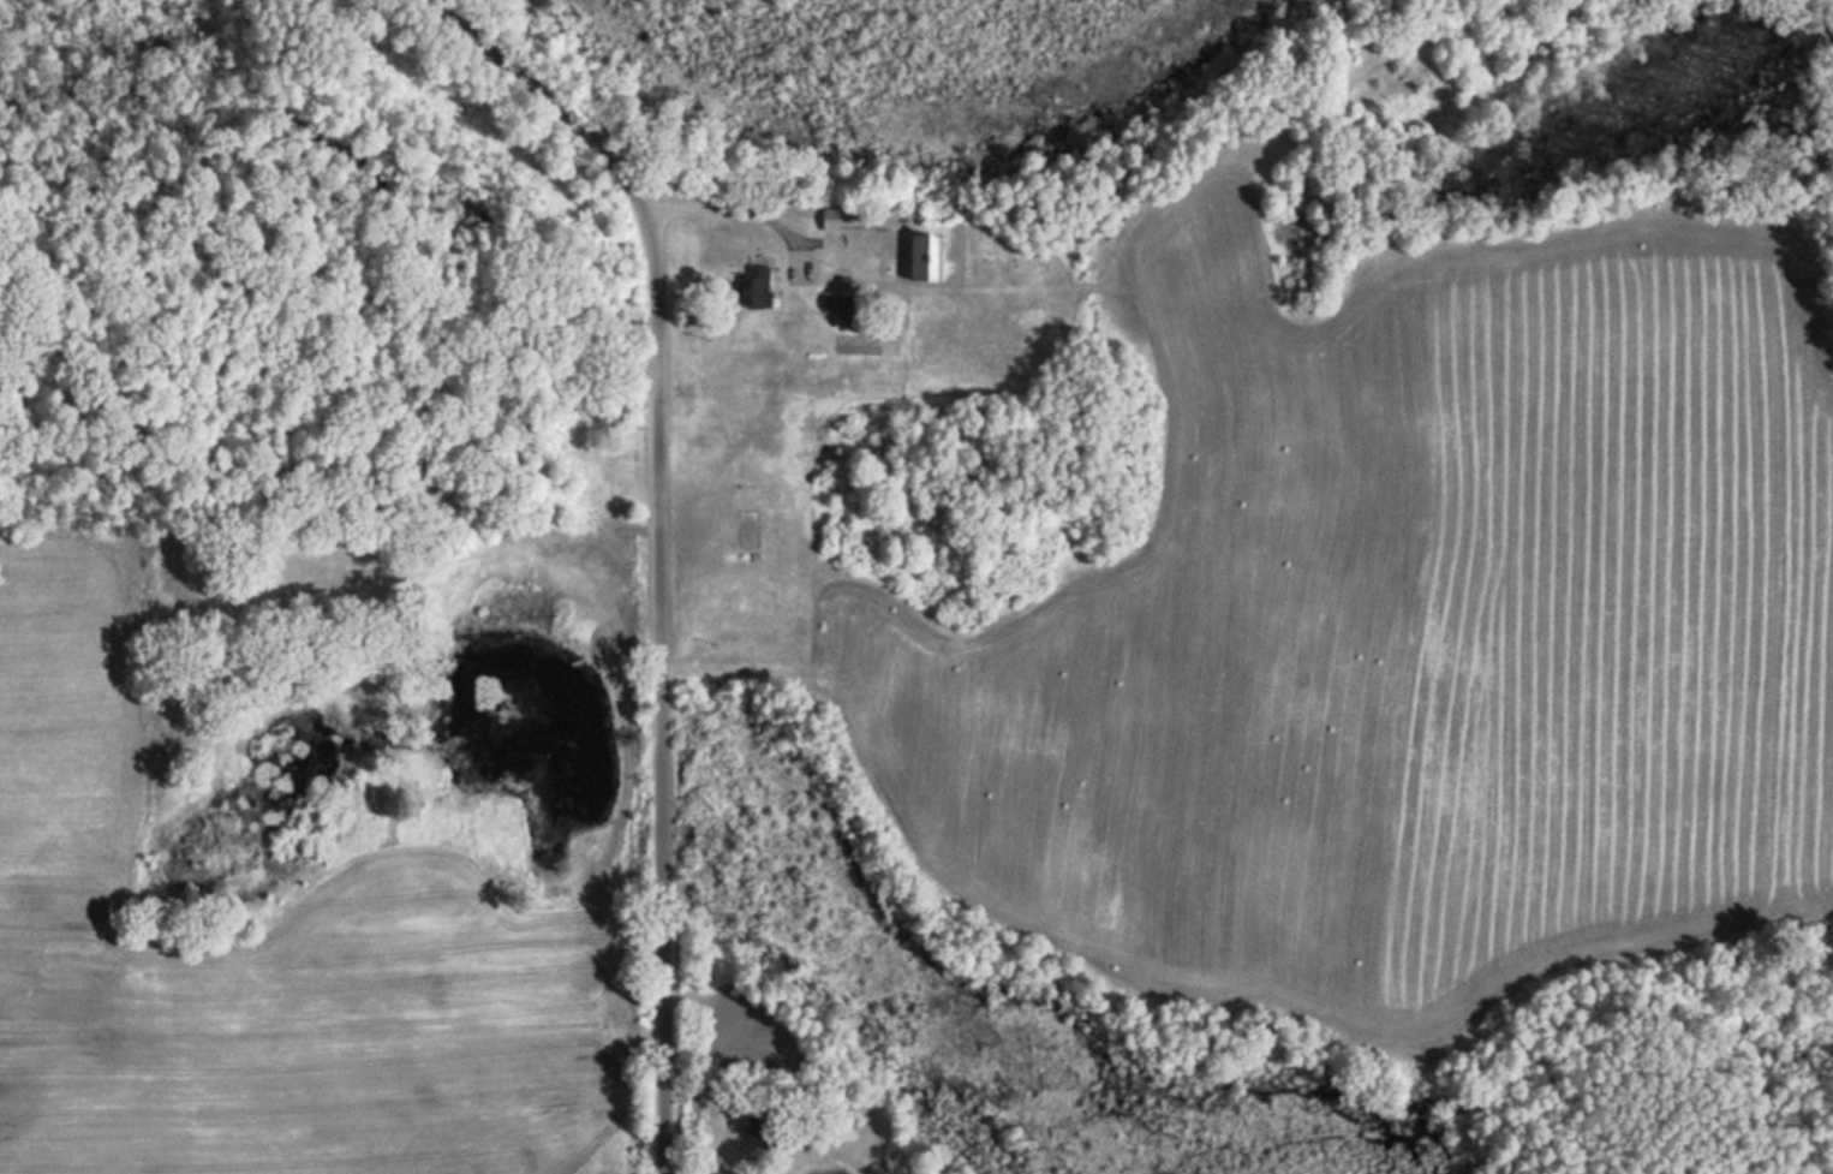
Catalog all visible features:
building: (846, 219)
building: (924, 258)
building: (754, 288)
road: (662, 534)

